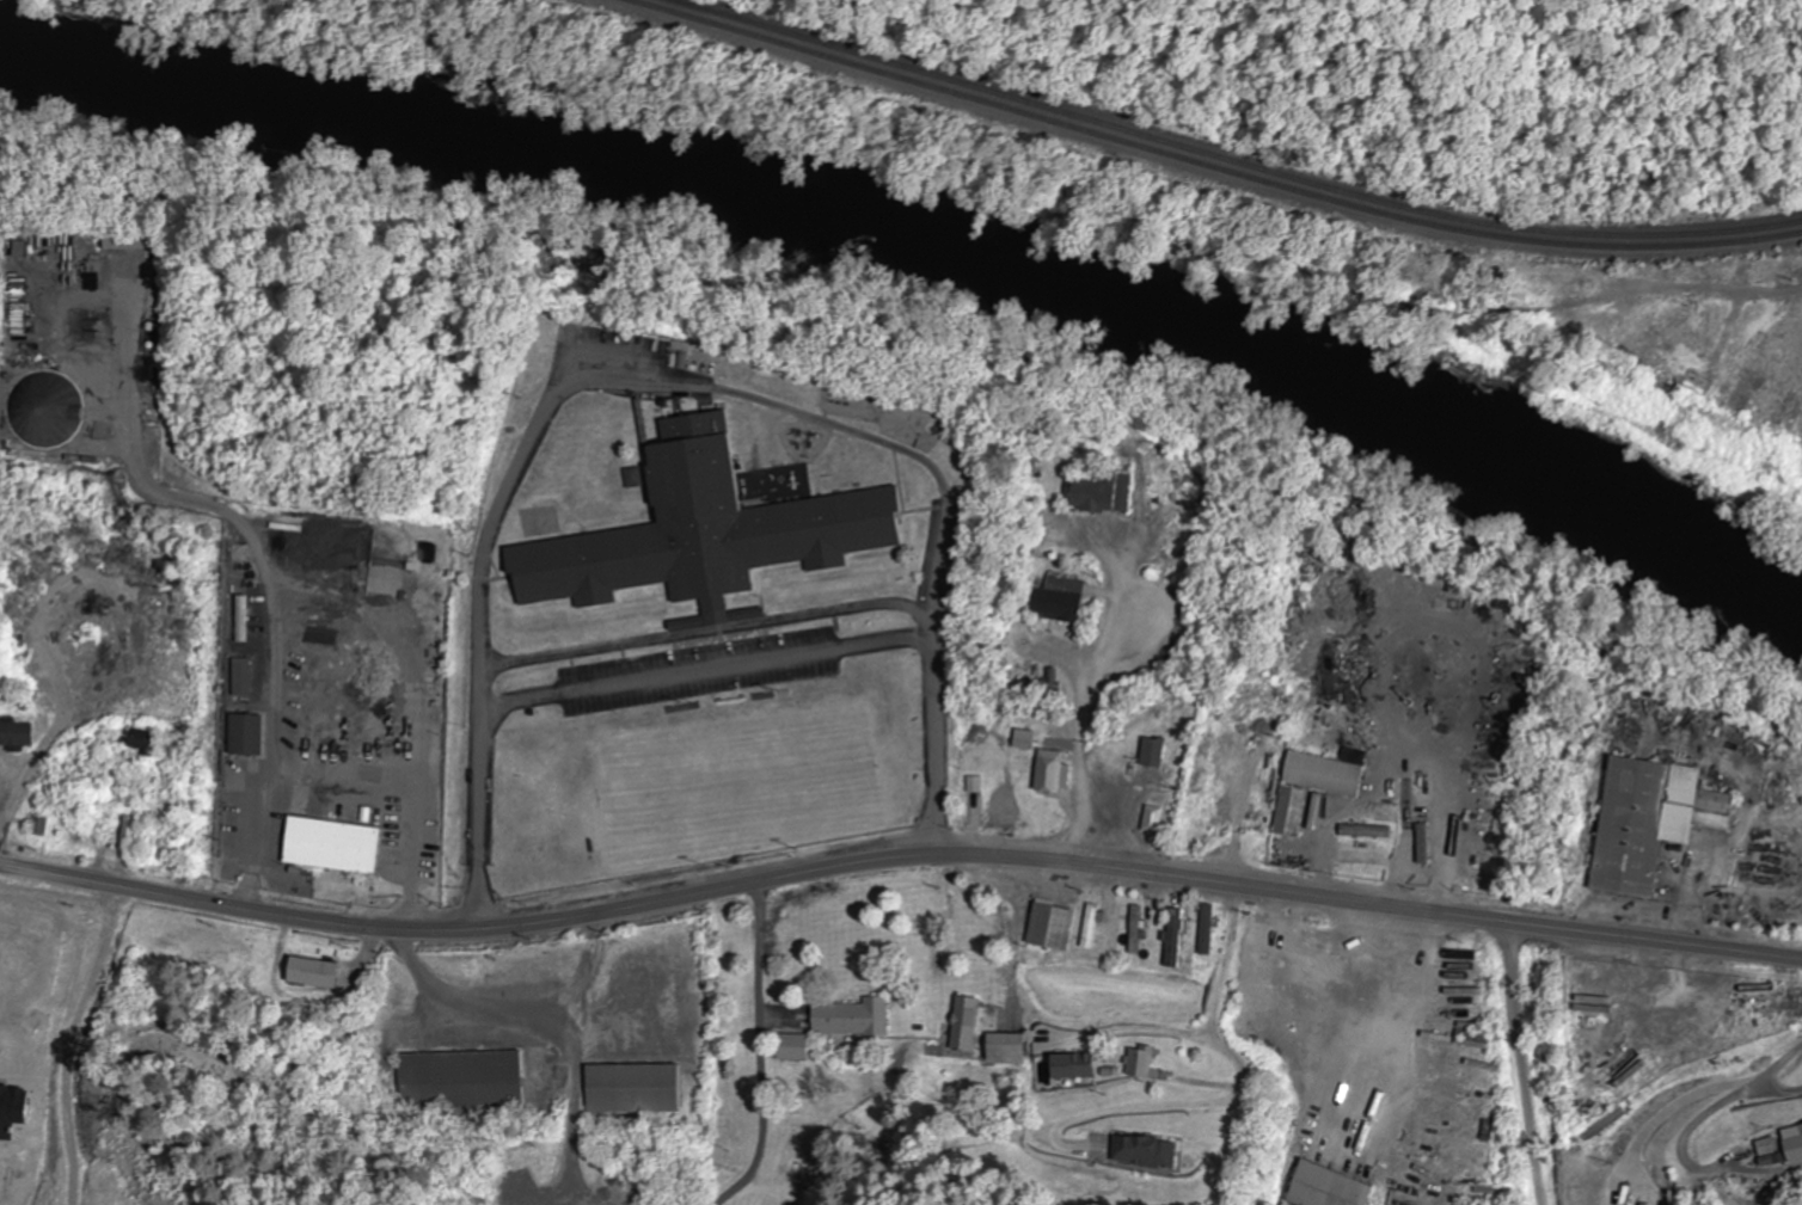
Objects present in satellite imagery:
railway: (1228, 159)
railway: (1208, 164)
river: (928, 235)
building: (124, 241)
building: (18, 248)
building: (1564, 332)
building: (1703, 387)
building: (44, 414)
building: (1101, 493)
building: (703, 531)
building: (391, 565)
road: (249, 600)
building: (1058, 600)
building: (239, 677)
building: (1473, 723)
building: (14, 736)
building: (241, 736)
building: (1023, 740)
building: (137, 742)
building: (1151, 754)
building: (1049, 773)
building: (1151, 820)
building: (1650, 820)
building: (35, 826)
building: (228, 832)
building: (1422, 844)
building: (326, 846)
road: (897, 859)
building: (1047, 927)
building: (1087, 927)
building: (1132, 929)
building: (1203, 929)
building: (1170, 935)
road: (1238, 970)
building: (307, 973)
building: (1760, 1003)
building: (847, 1019)
building: (960, 1025)
building: (1605, 1037)
road: (759, 1049)
building: (789, 1049)
building: (1003, 1050)
building: (1138, 1063)
road: (1520, 1064)
building: (1068, 1065)
building: (456, 1082)
building: (629, 1089)
building: (1801, 1127)
building: (1794, 1150)
building: (1140, 1151)
building: (1320, 1188)

